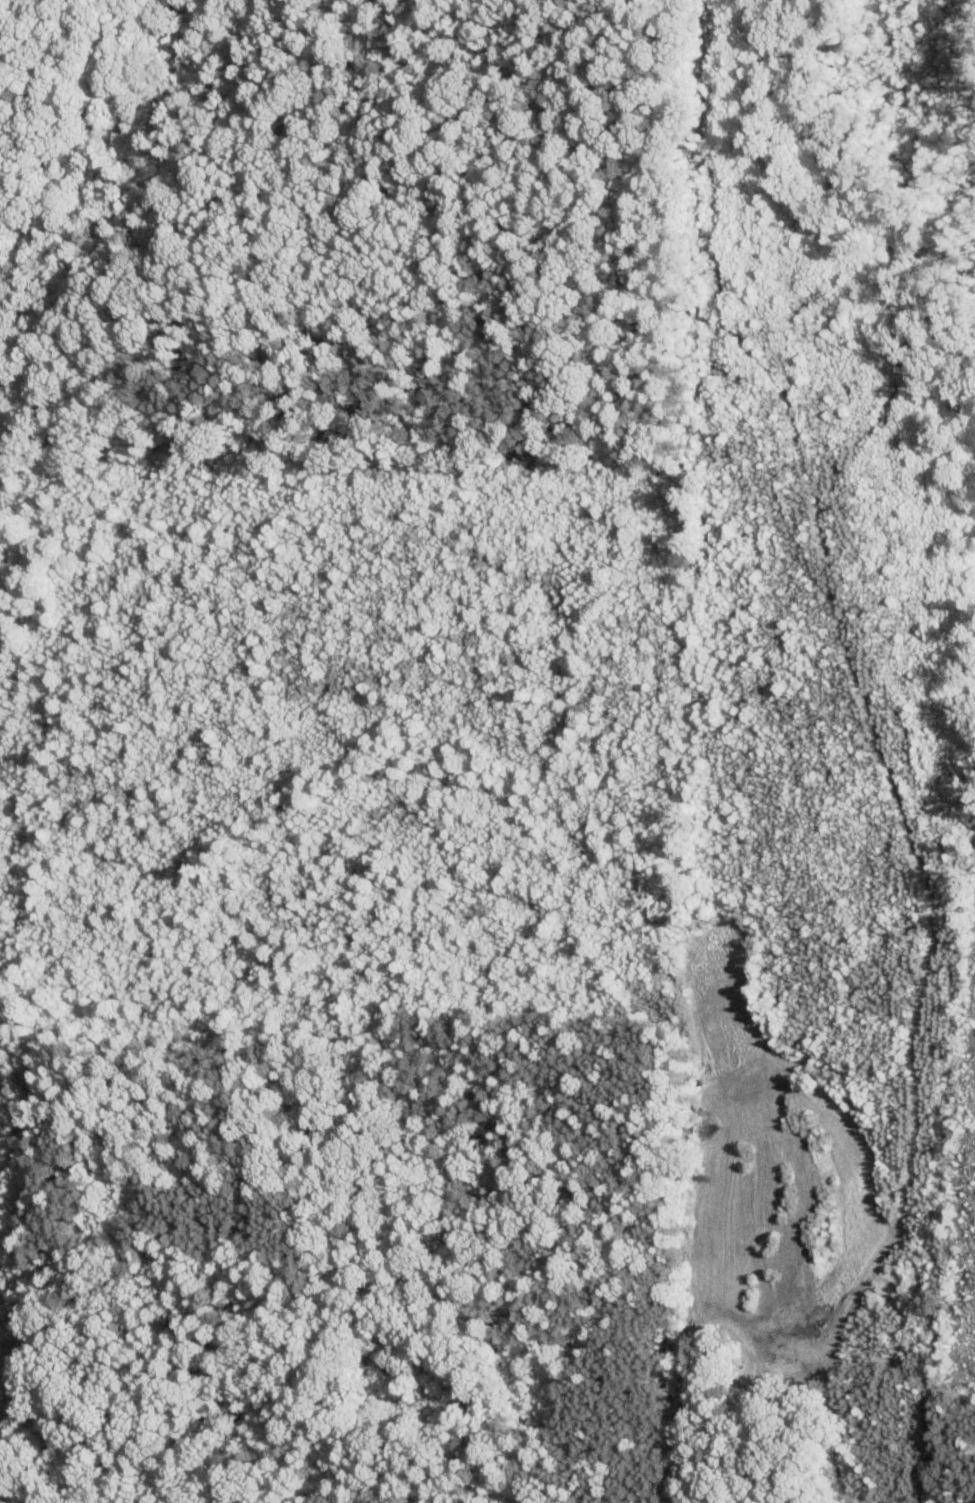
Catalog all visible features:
park: (344, 546)

